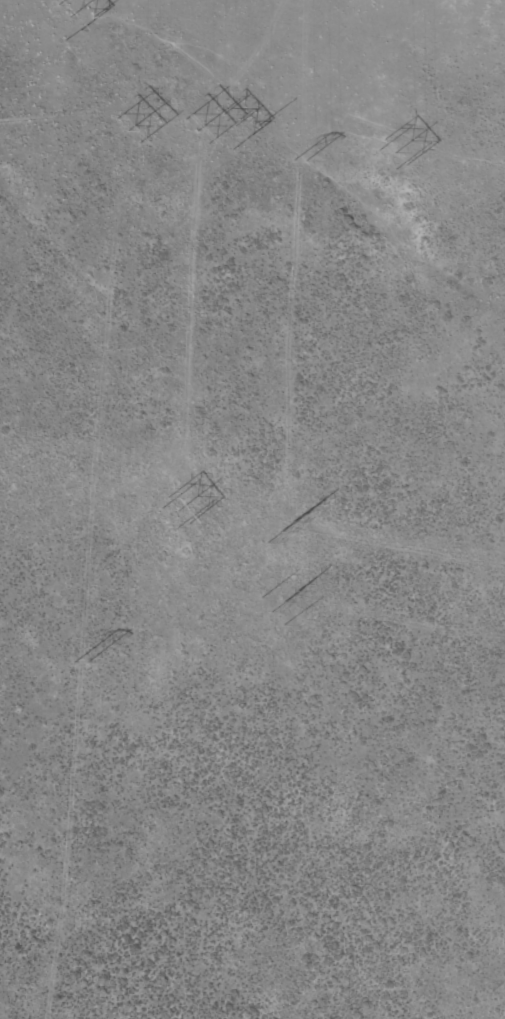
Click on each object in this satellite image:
power tower: (72, 14)
power tower: (124, 129)
power tower: (196, 129)
power tower: (234, 130)
power tower: (395, 150)
power tower: (301, 156)
power tower: (177, 511)
power tower: (280, 530)
power tower: (282, 603)
power tower: (78, 663)

